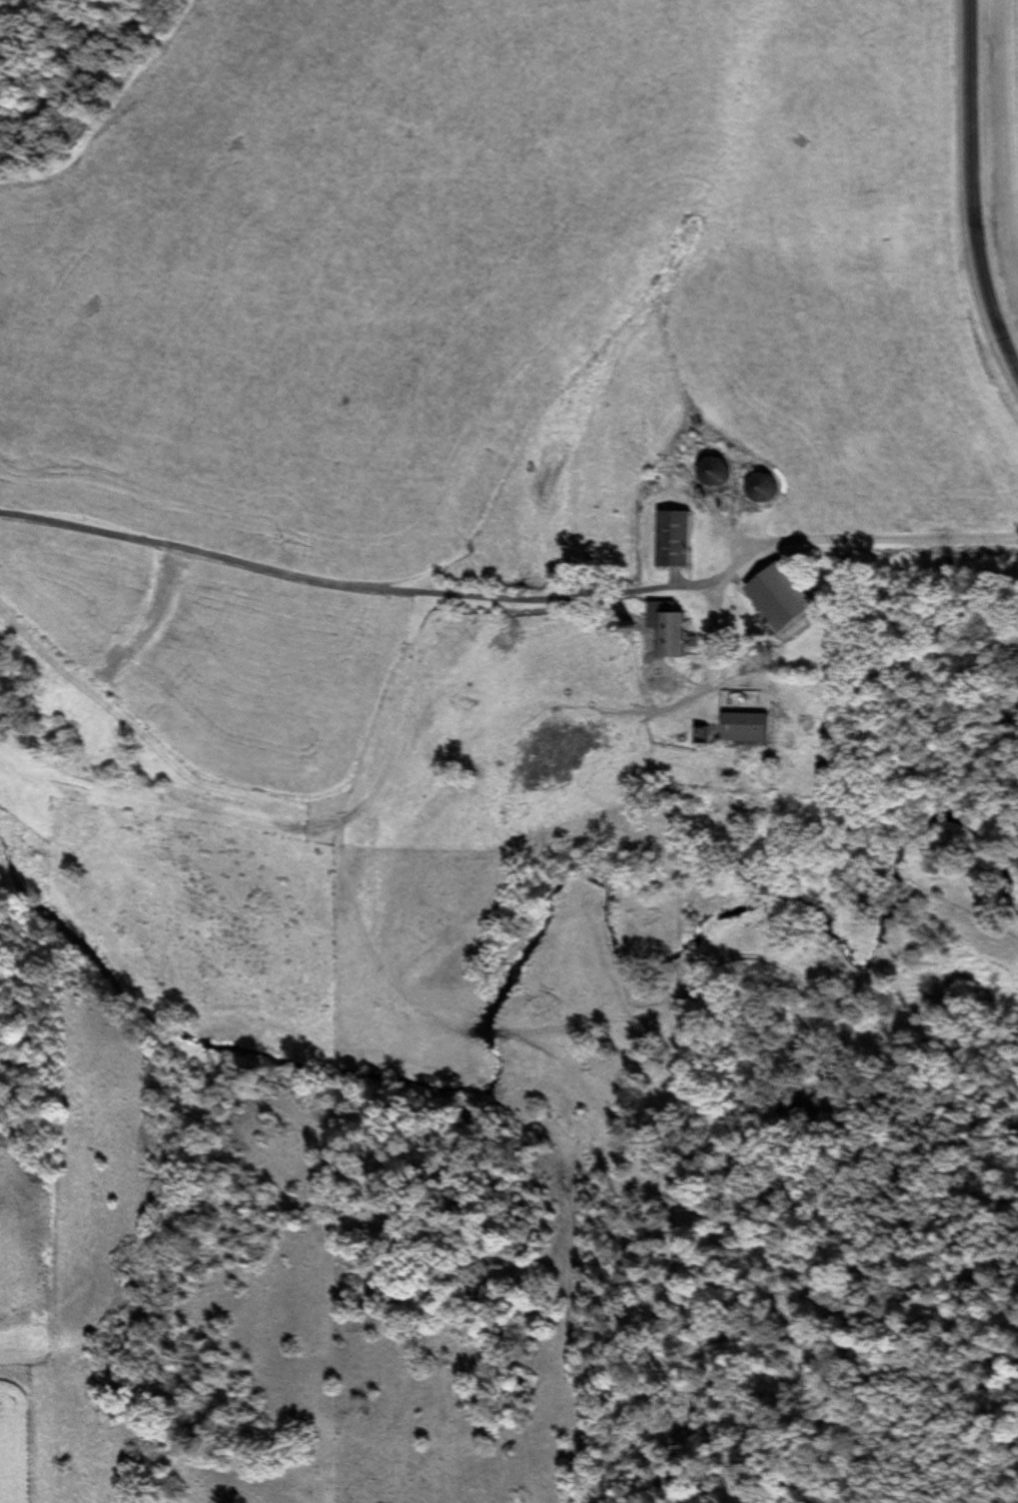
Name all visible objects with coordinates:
road: (945, 230)
building: (714, 472)
road: (909, 528)
building: (676, 539)
building: (674, 628)
building: (749, 727)

